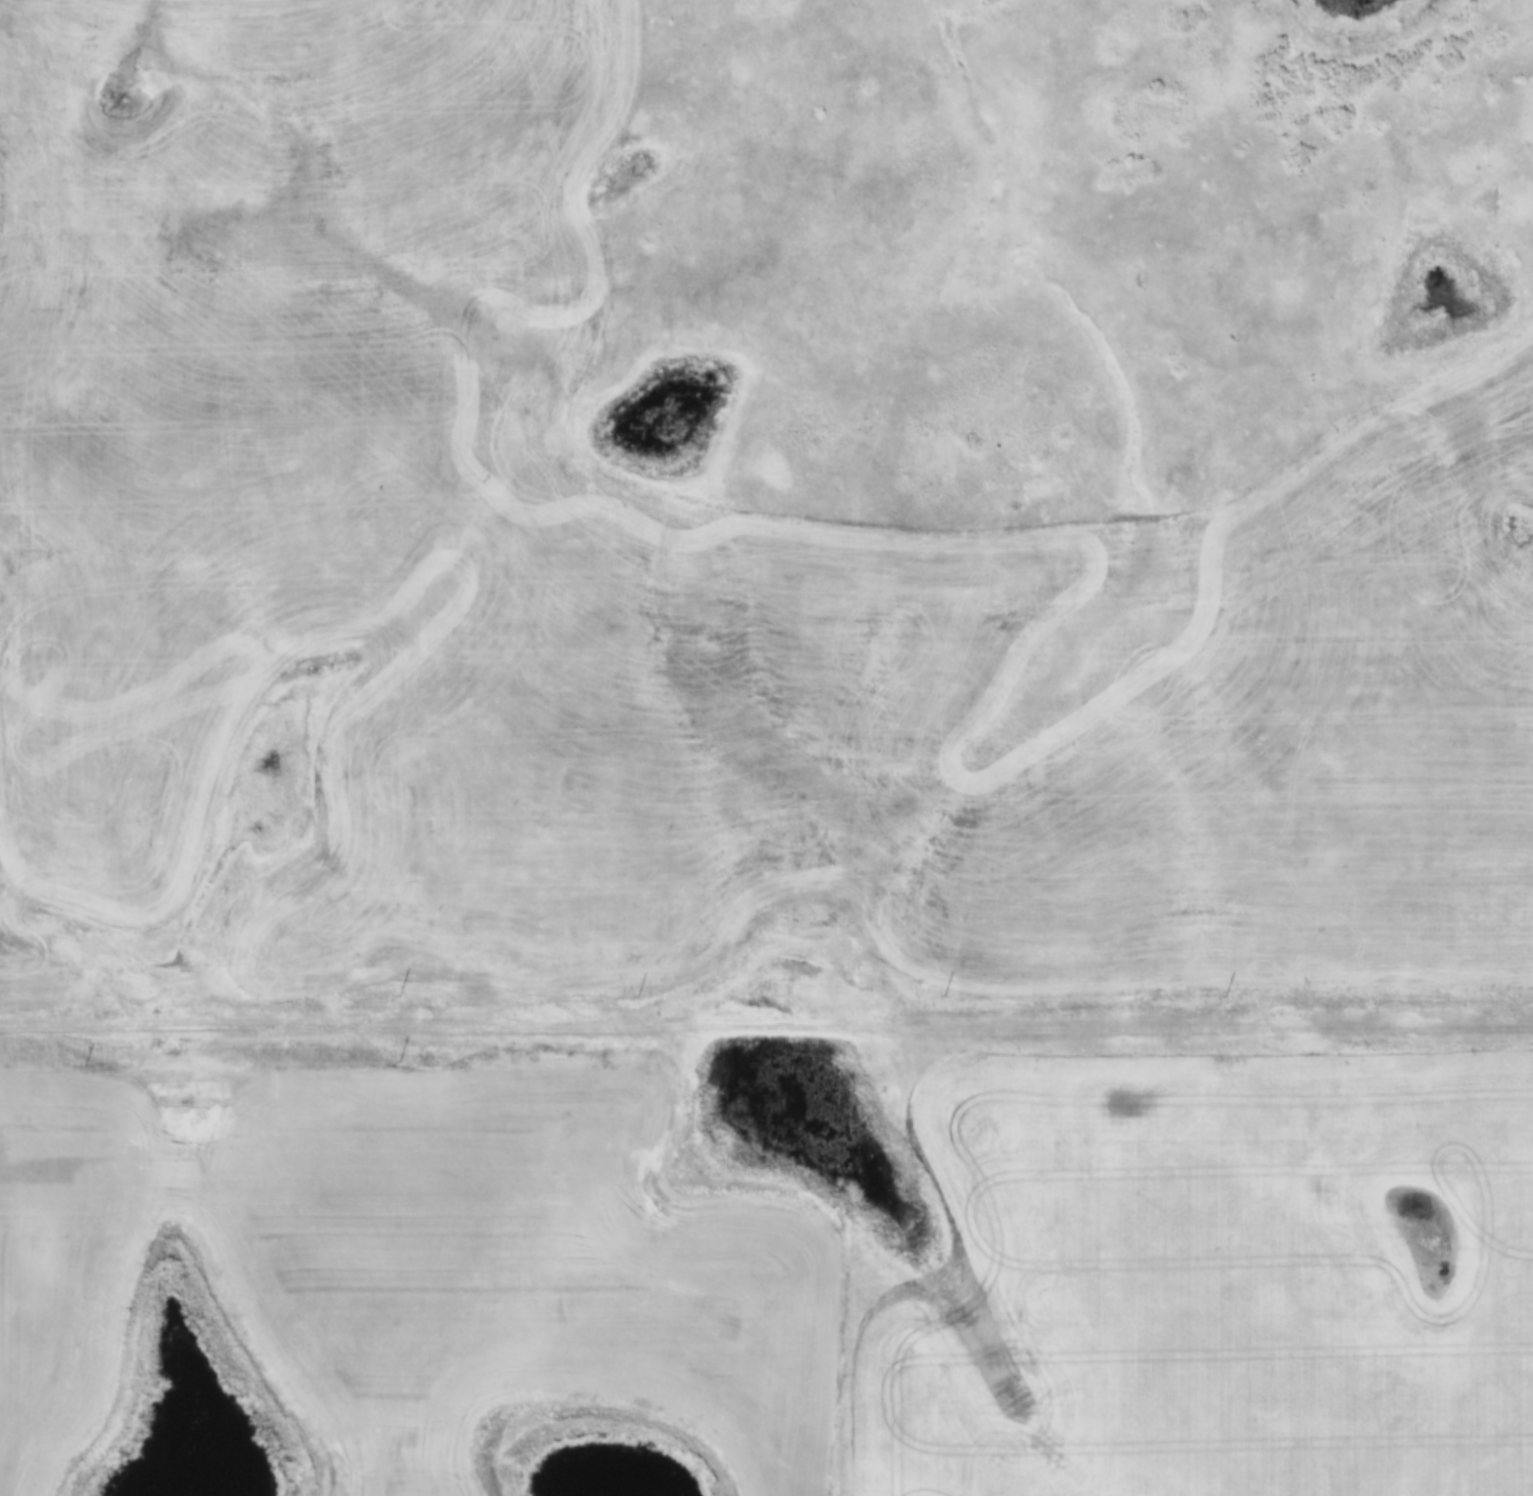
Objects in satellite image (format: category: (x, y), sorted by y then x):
road: (766, 1022)

